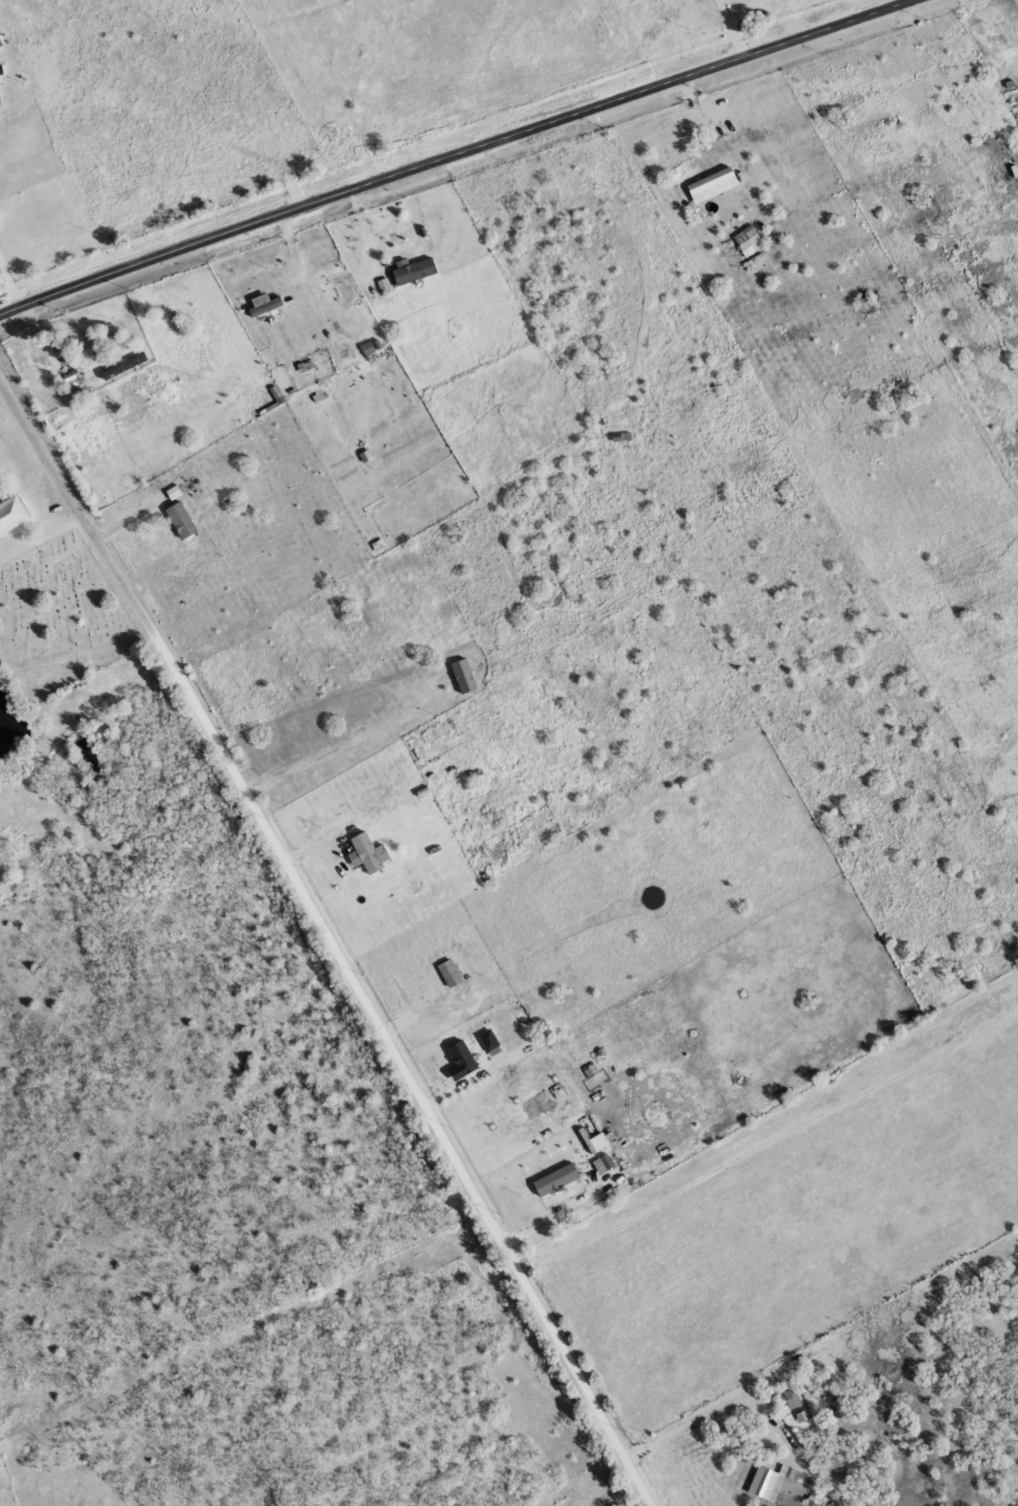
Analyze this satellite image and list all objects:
road: (731, 24)
building: (2, 70)
road: (438, 152)
building: (715, 185)
building: (750, 241)
building: (412, 272)
road: (11, 278)
building: (248, 285)
building: (267, 305)
building: (127, 367)
building: (11, 512)
building: (179, 520)
park: (61, 617)
building: (462, 676)
road: (74, 710)
road: (261, 815)
building: (365, 853)
building: (452, 974)
building: (487, 1041)
building: (459, 1055)
road: (769, 1140)
building: (596, 1142)
building: (605, 1164)
building: (553, 1179)
road: (583, 1380)
building: (791, 1392)
building: (774, 1481)

